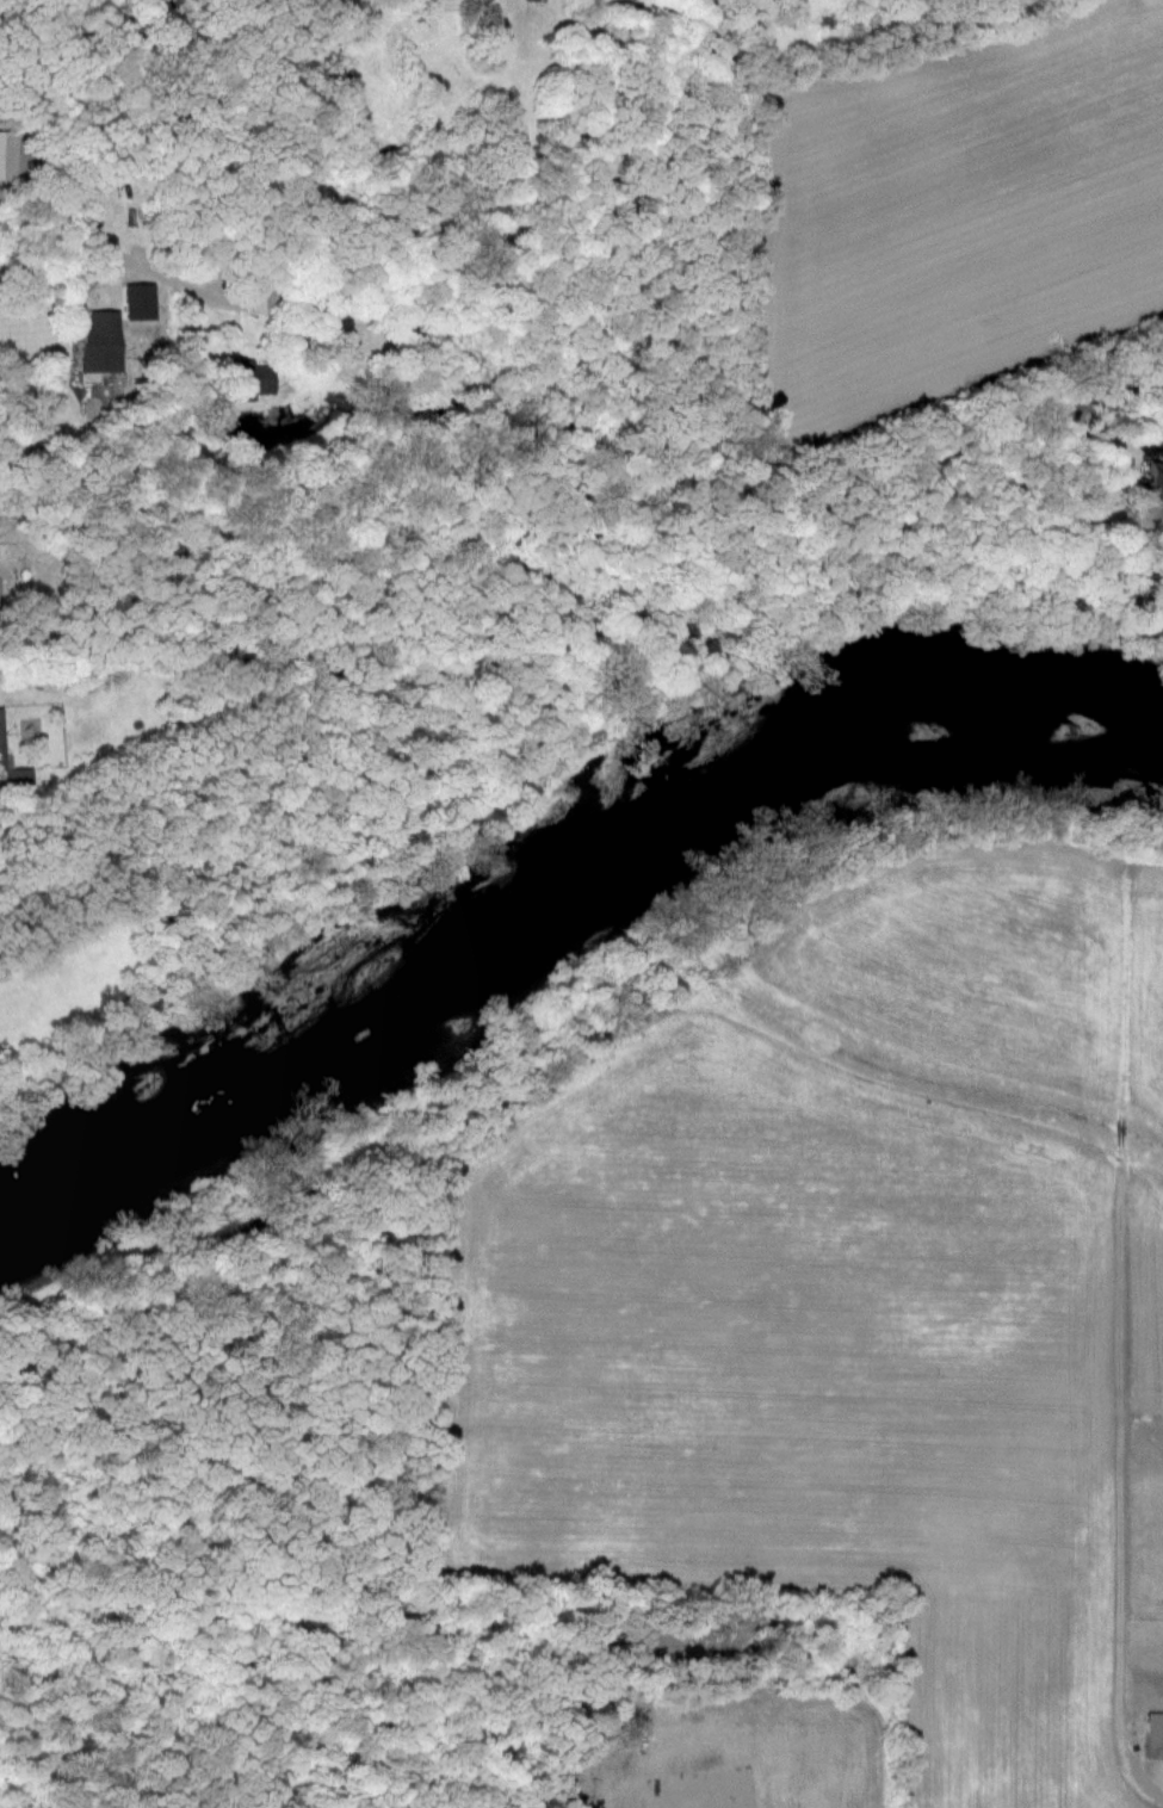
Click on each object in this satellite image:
building: (6, 156)
road: (61, 274)
building: (260, 301)
building: (95, 345)
building: (247, 380)
building: (1155, 482)
building: (12, 772)
river: (553, 865)
building: (1153, 1735)

